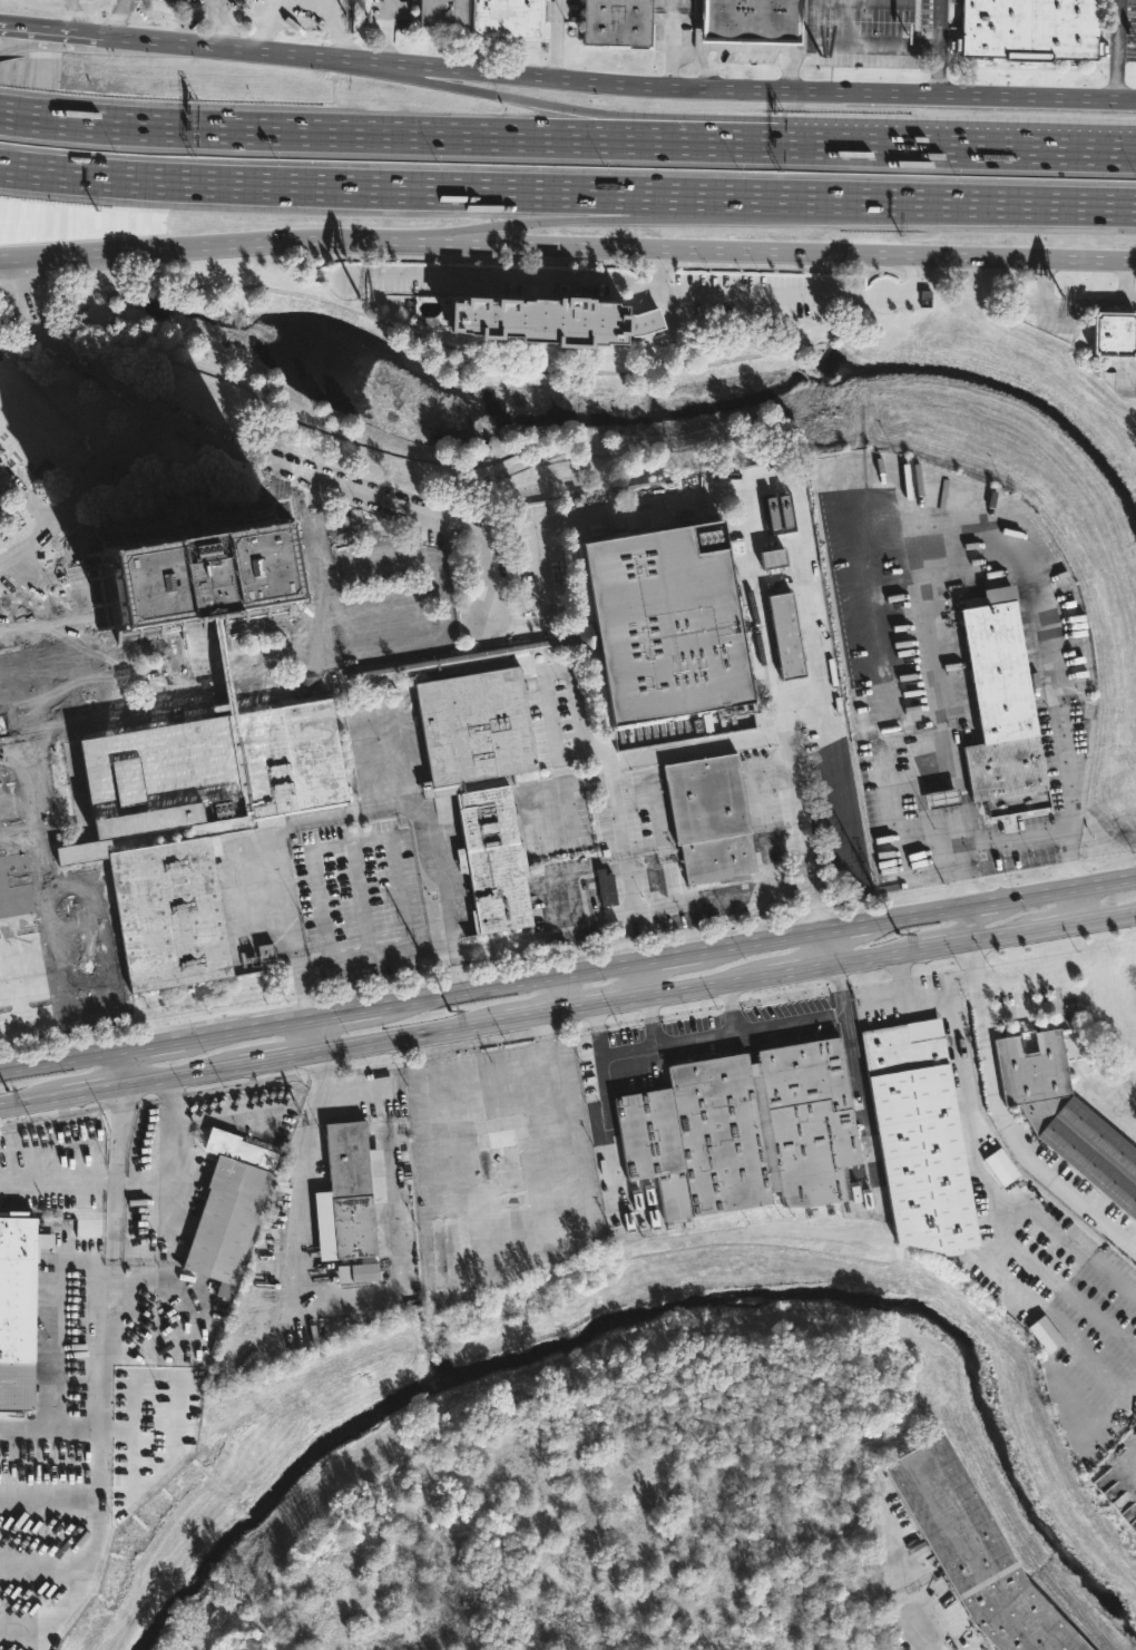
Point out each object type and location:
road: (673, 6)
building: (444, 12)
road: (72, 16)
road: (116, 18)
building: (508, 18)
building: (752, 20)
road: (221, 23)
building: (619, 23)
road: (47, 29)
building: (1030, 29)
road: (388, 31)
road: (556, 38)
road: (47, 43)
road: (854, 43)
road: (751, 47)
road: (939, 47)
road: (259, 49)
road: (672, 49)
road: (1118, 50)
road: (706, 67)
road: (791, 70)
road: (780, 90)
road: (677, 118)
road: (467, 135)
road: (1035, 149)
road: (396, 188)
road: (964, 203)
road: (605, 219)
road: (208, 244)
road: (776, 250)
road: (447, 256)
road: (789, 265)
road: (659, 266)
road: (957, 270)
road: (917, 274)
road: (498, 275)
road: (1126, 282)
road: (784, 293)
road: (659, 297)
road: (1065, 305)
road: (756, 316)
road: (673, 318)
building: (554, 320)
road: (642, 322)
road: (29, 328)
building: (1115, 334)
park: (457, 385)
road: (178, 406)
road: (129, 410)
road: (149, 426)
road: (187, 427)
road: (203, 452)
road: (100, 460)
road: (112, 472)
road: (312, 491)
road: (23, 498)
road: (780, 498)
road: (621, 507)
road: (370, 511)
road: (40, 531)
road: (434, 531)
road: (944, 534)
road: (489, 548)
road: (77, 550)
road: (380, 559)
building: (196, 580)
road: (507, 614)
building: (666, 625)
building: (790, 636)
road: (334, 655)
road: (48, 660)
road: (116, 666)
building: (1001, 706)
road: (636, 754)
building: (486, 798)
road: (617, 806)
road: (351, 814)
building: (713, 820)
building: (196, 824)
road: (1069, 887)
road: (815, 894)
road: (694, 900)
road: (985, 901)
road: (1075, 905)
road: (48, 906)
road: (921, 912)
road: (1107, 918)
road: (852, 924)
road: (969, 924)
road: (1057, 927)
power tower: (900, 934)
road: (1003, 936)
road: (770, 938)
road: (831, 946)
road: (943, 946)
road: (676, 954)
road: (874, 957)
road: (803, 970)
road: (644, 978)
road: (516, 980)
road: (708, 986)
road: (840, 989)
road: (565, 992)
road: (884, 1000)
road: (607, 1004)
road: (351, 1009)
power tower: (451, 1012)
road: (930, 1012)
road: (981, 1014)
road: (539, 1015)
road: (765, 1025)
road: (253, 1027)
road: (313, 1035)
road: (414, 1036)
road: (670, 1041)
road: (158, 1043)
road: (604, 1054)
road: (281, 1058)
road: (60, 1060)
road: (124, 1067)
road: (186, 1075)
power tower: (9, 1090)
road: (99, 1090)
road: (36, 1100)
road: (970, 1101)
building: (1065, 1114)
building: (743, 1130)
building: (919, 1136)
road: (1025, 1154)
building: (503, 1156)
road: (306, 1163)
road: (874, 1165)
road: (102, 1180)
building: (350, 1201)
building: (228, 1208)
building: (91, 1231)
road: (1068, 1240)
building: (449, 1254)
road: (1055, 1278)
road: (109, 1297)
building: (19, 1308)
road: (50, 1422)
road: (98, 1541)
building: (977, 1552)
road: (922, 1637)

